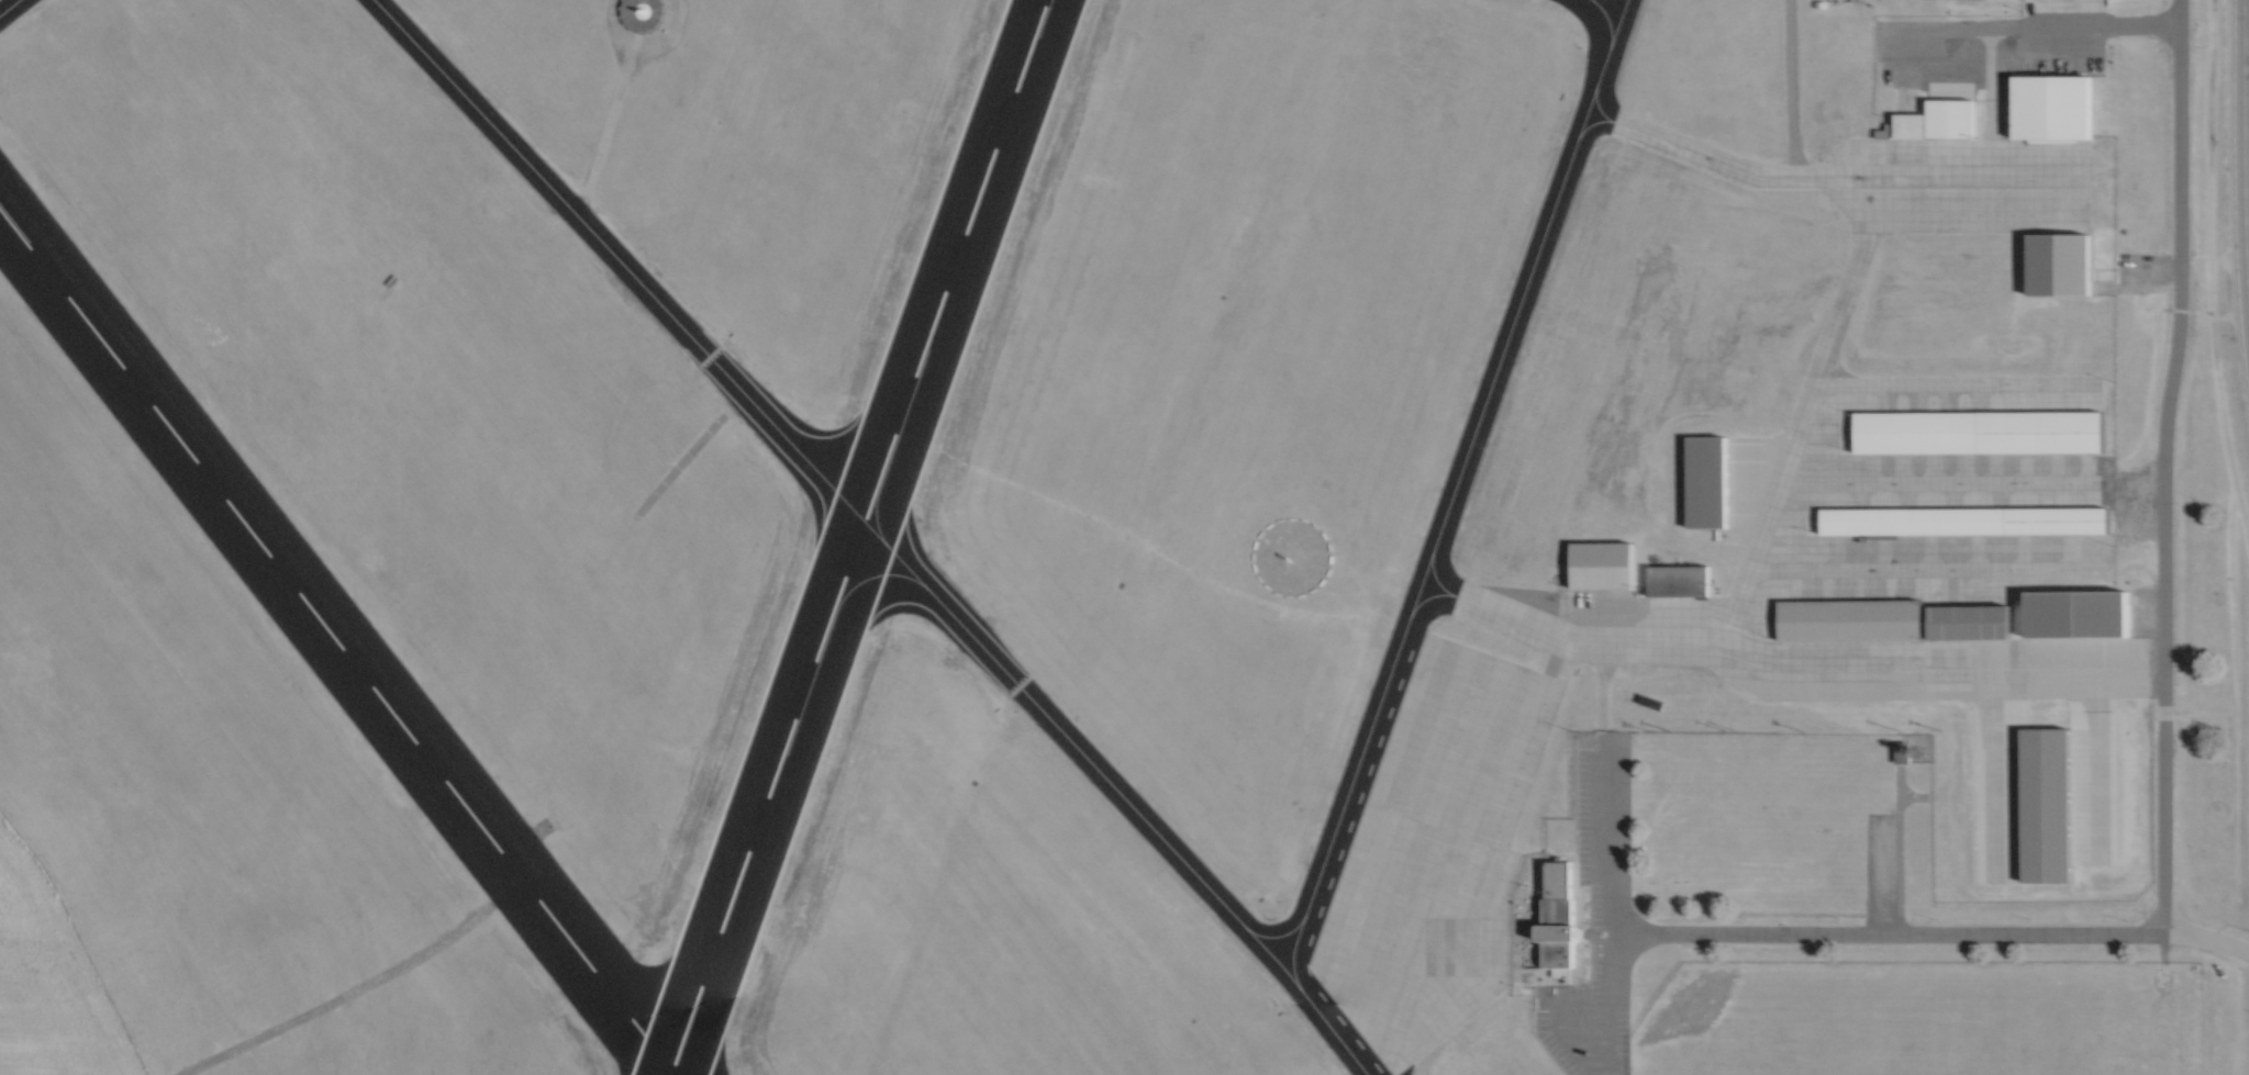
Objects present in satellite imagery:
airport taxiway: (5, 4)
airport taxiway: (1599, 23)
road: (2024, 25)
road: (1785, 91)
building: (2049, 107)
building: (1948, 119)
building: (1908, 125)
building: (1883, 132)
road: (2241, 168)
airport taxiway: (1825, 186)
airport apron: (1962, 186)
building: (2056, 257)
airport taxiway: (615, 260)
airport taxiway: (1946, 382)
building: (1916, 432)
building: (2040, 432)
road: (2159, 467)
airport taxiway: (1925, 481)
building: (1704, 482)
airport taxiway: (1449, 489)
building: (1913, 519)
building: (2057, 519)
airport runway: (854, 537)
airport: (1121, 537)
airport taxiway: (1748, 556)
building: (1599, 562)
airport taxiway: (1894, 568)
building: (1672, 580)
building: (2081, 615)
building: (1850, 619)
building: (1971, 622)
airport runway: (335, 646)
airport taxiway: (1557, 658)
airport taxiway: (1907, 670)
building: (1899, 752)
airport taxiway: (1116, 794)
road: (1894, 850)
airport apron: (1436, 854)
road: (1613, 897)
airport terminal: (1554, 916)
building: (1554, 916)
parking lot: (1593, 918)
road: (1885, 933)
road: (2205, 938)
airport taxiway: (1290, 961)
road: (352, 987)

